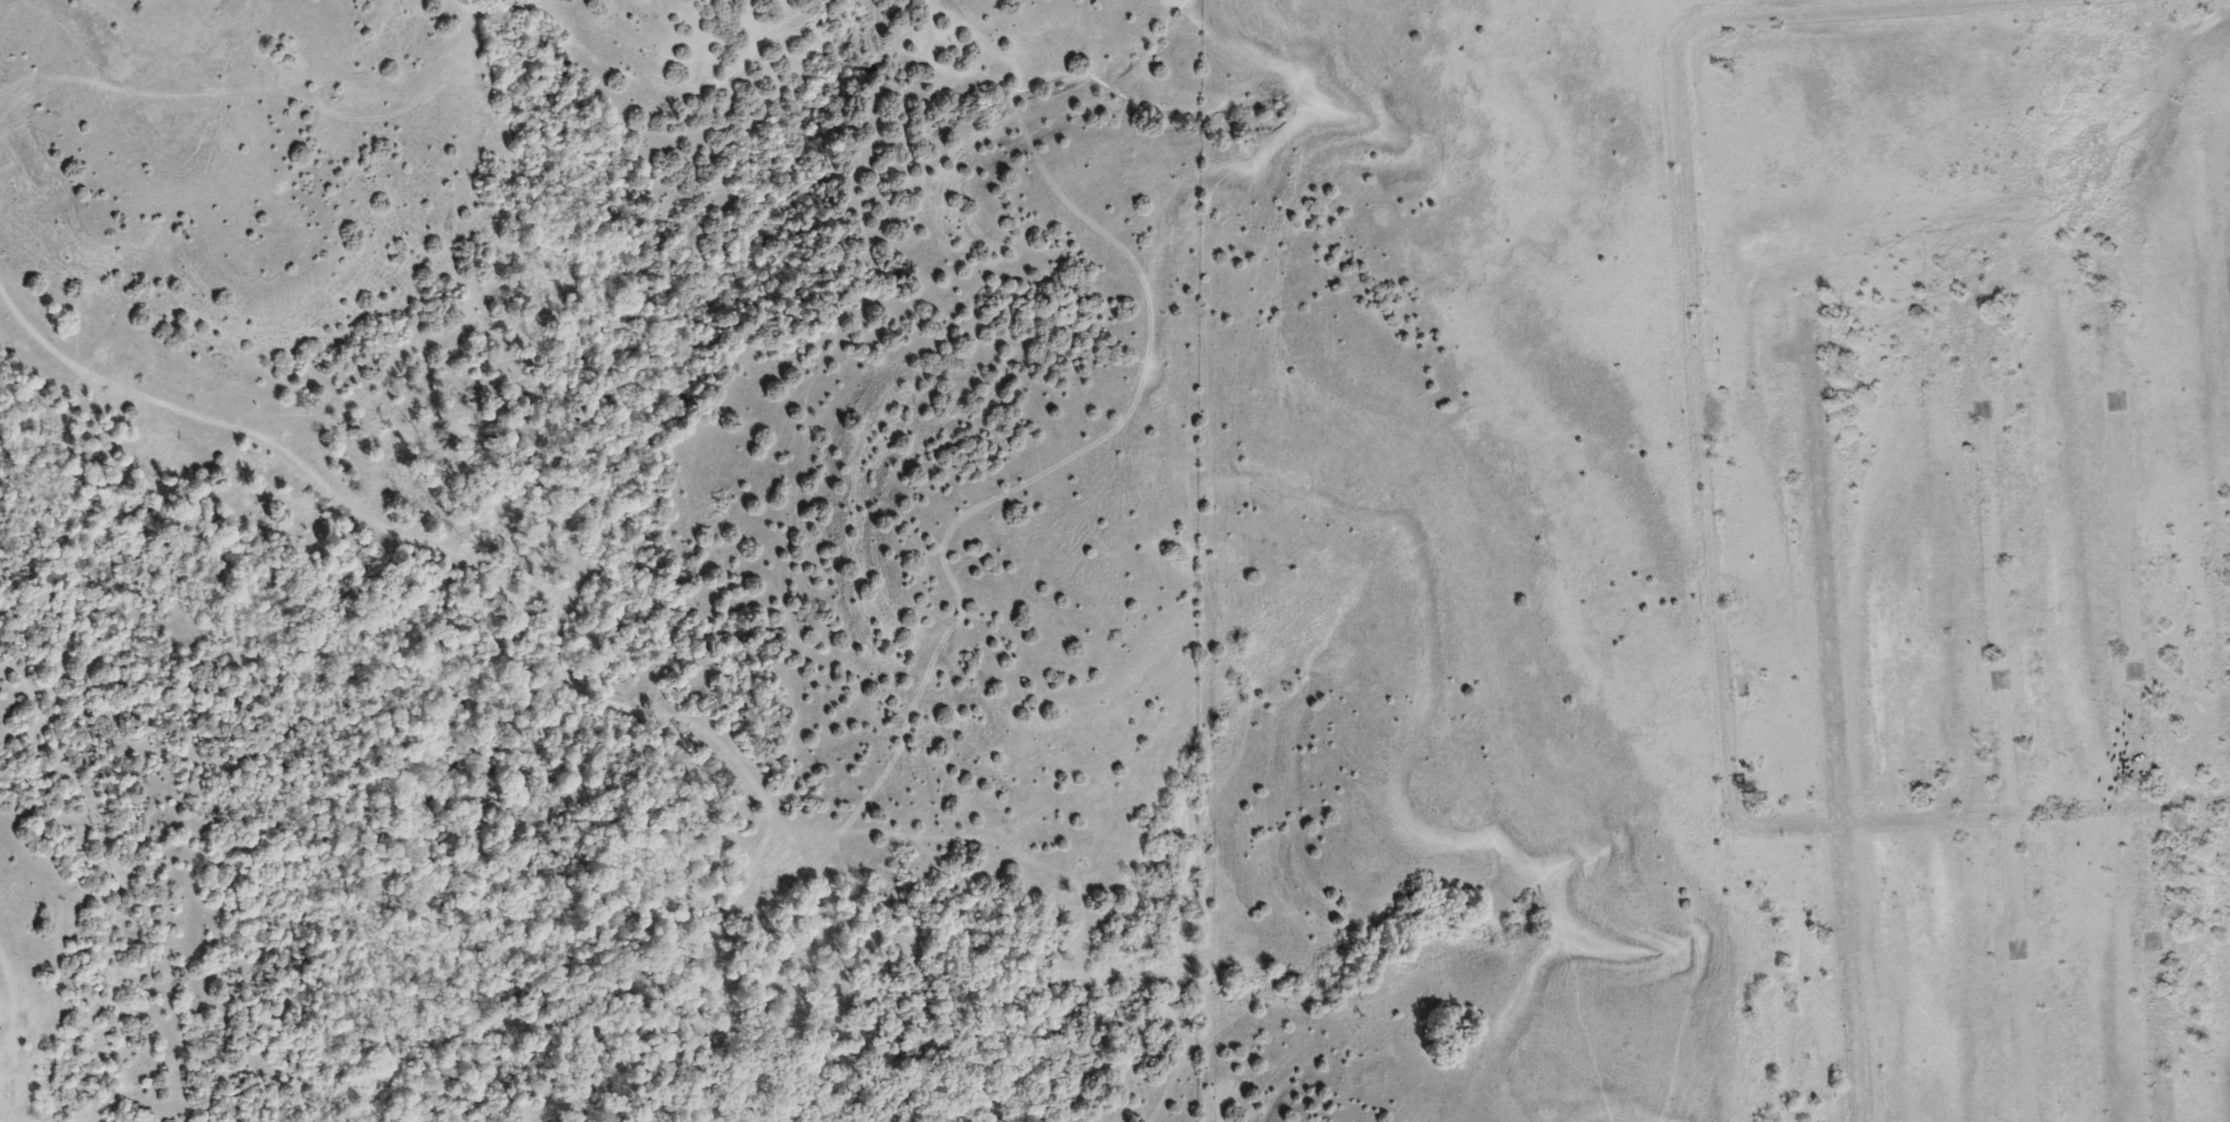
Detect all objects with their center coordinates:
airport: (1948, 552)
road: (2067, 711)

